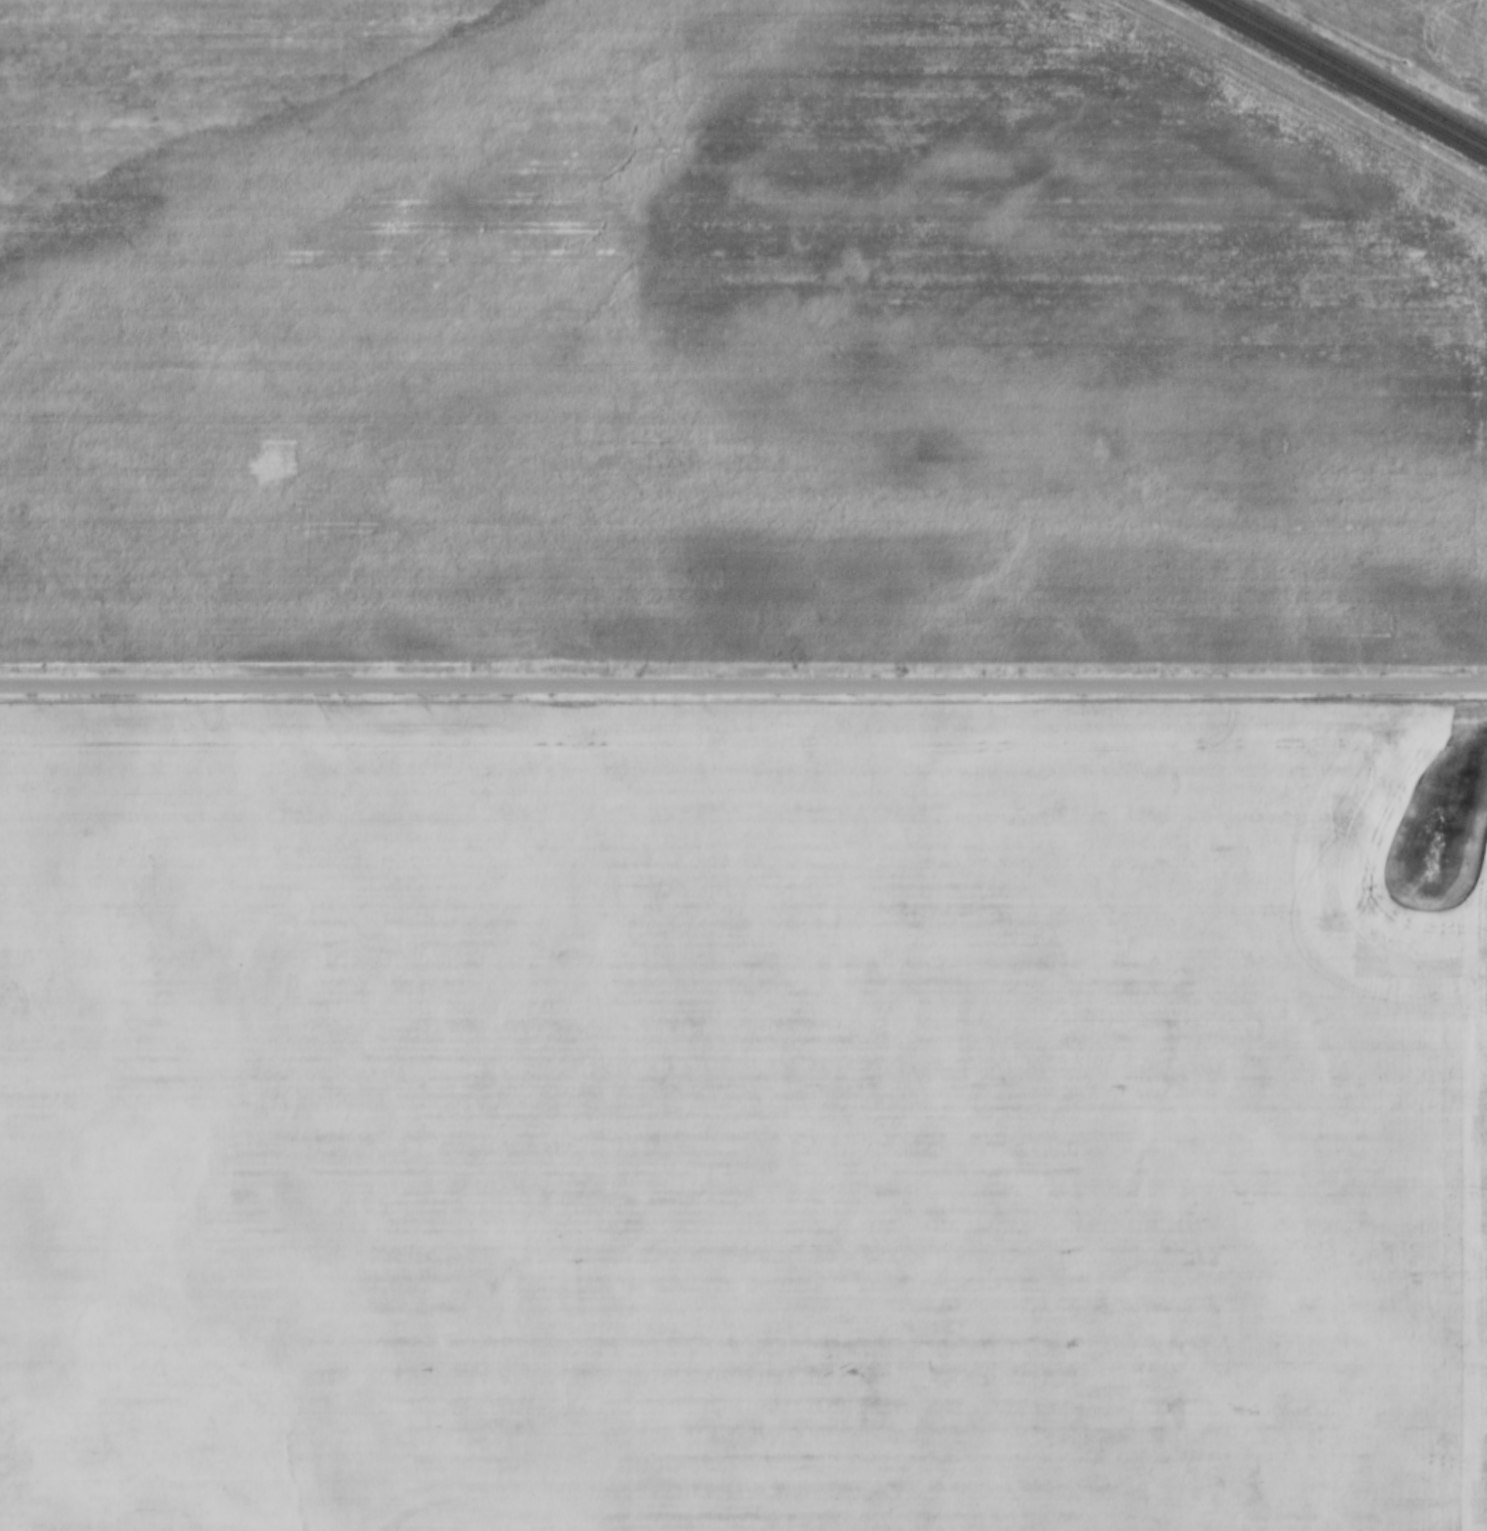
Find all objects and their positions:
railway: (1353, 72)
railway: (1341, 79)
road: (743, 679)

